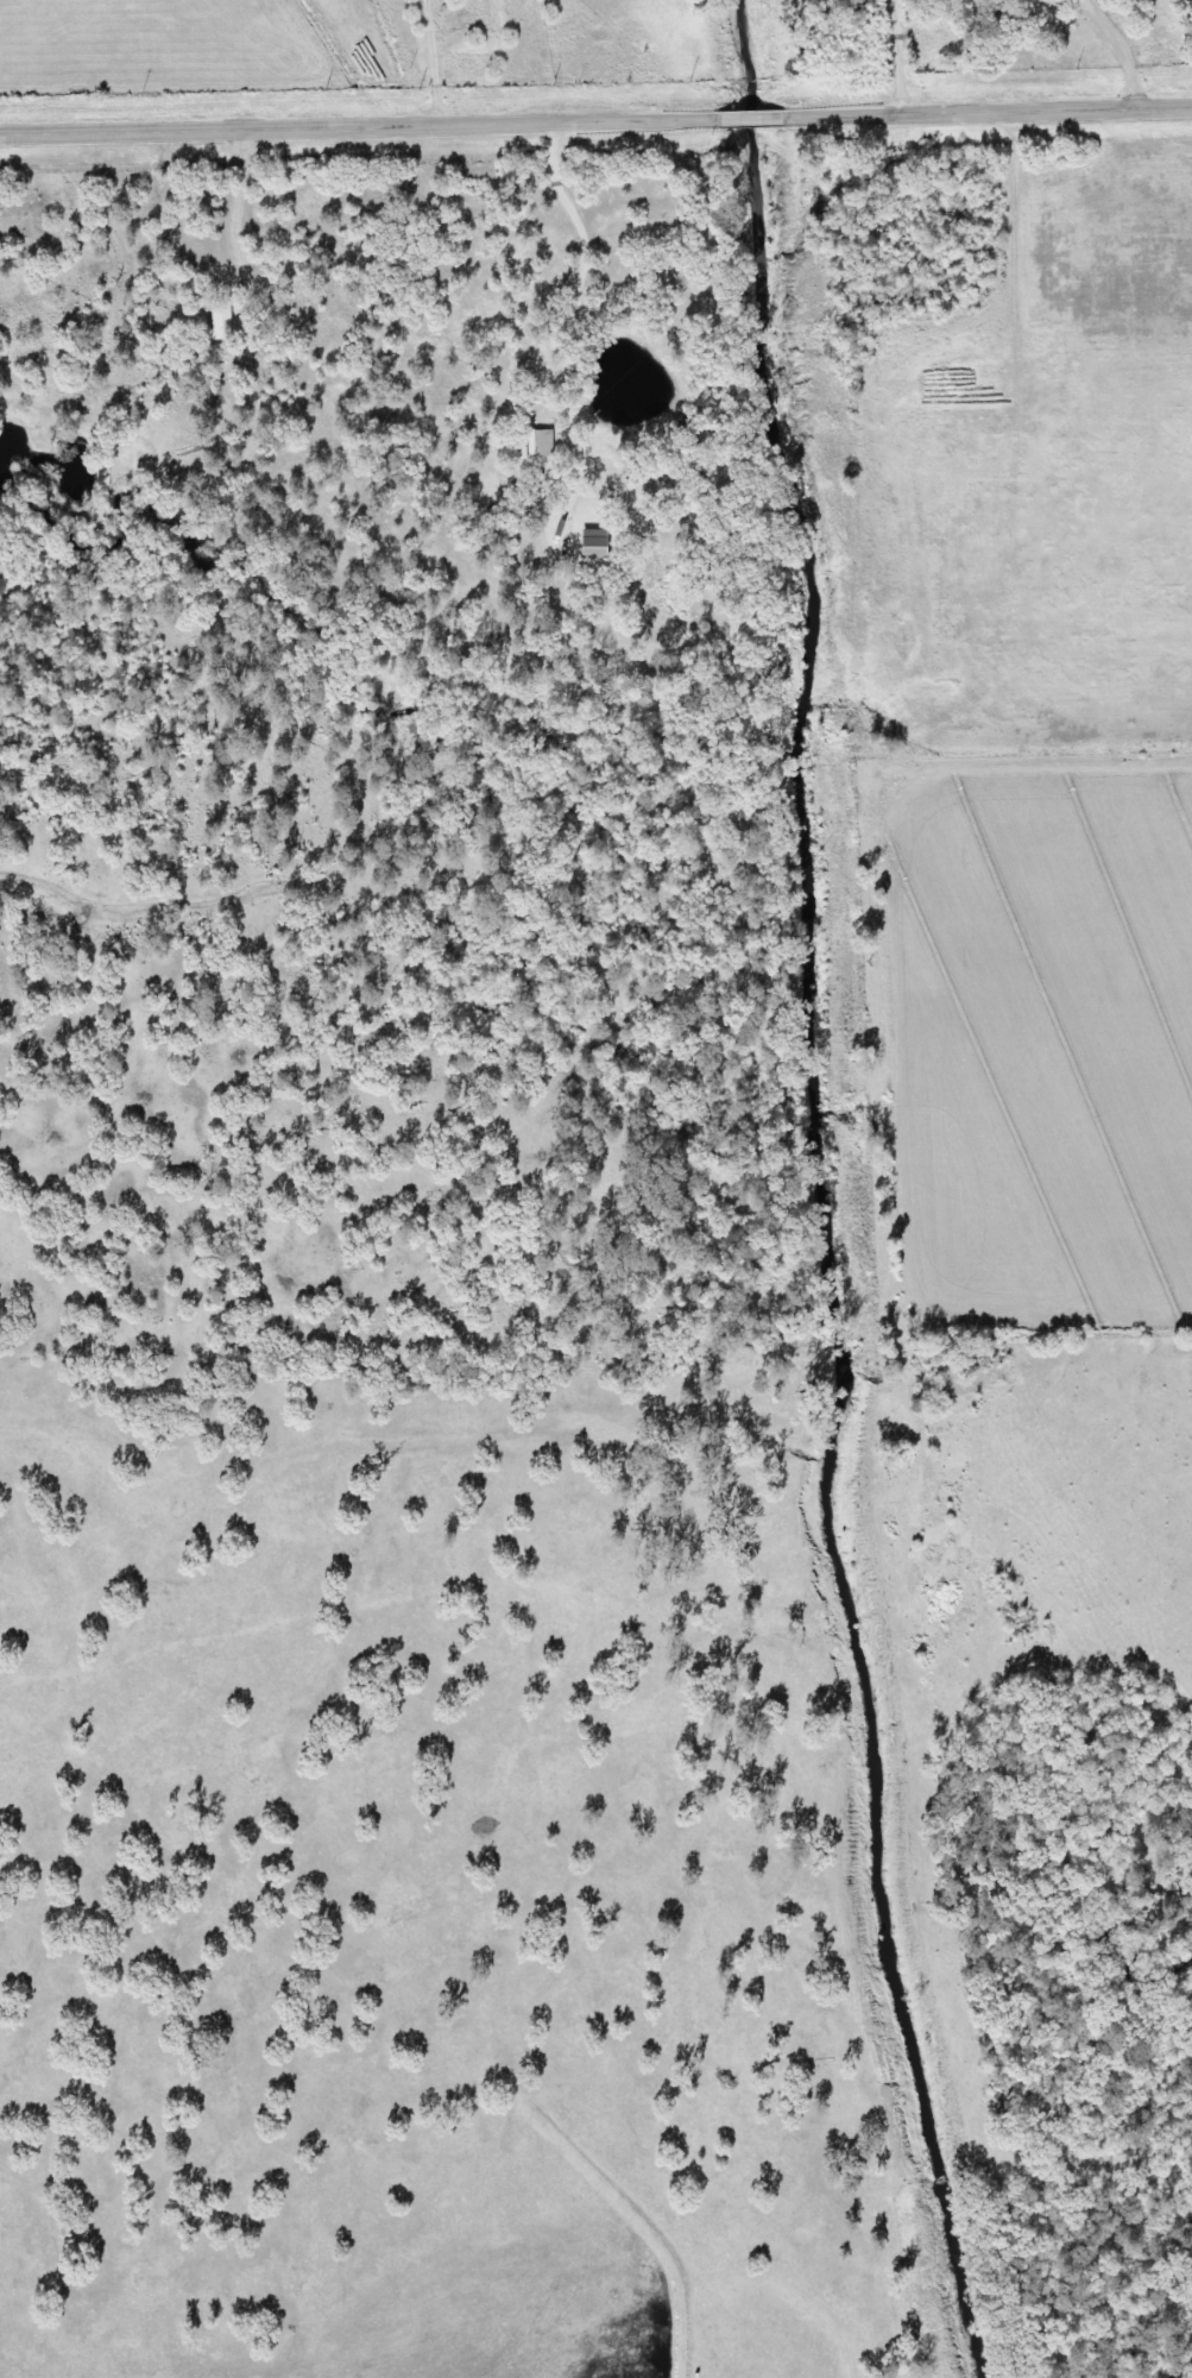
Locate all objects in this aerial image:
road: (1114, 50)
road: (595, 119)
road: (231, 244)
road: (576, 257)
building: (215, 320)
building: (537, 443)

